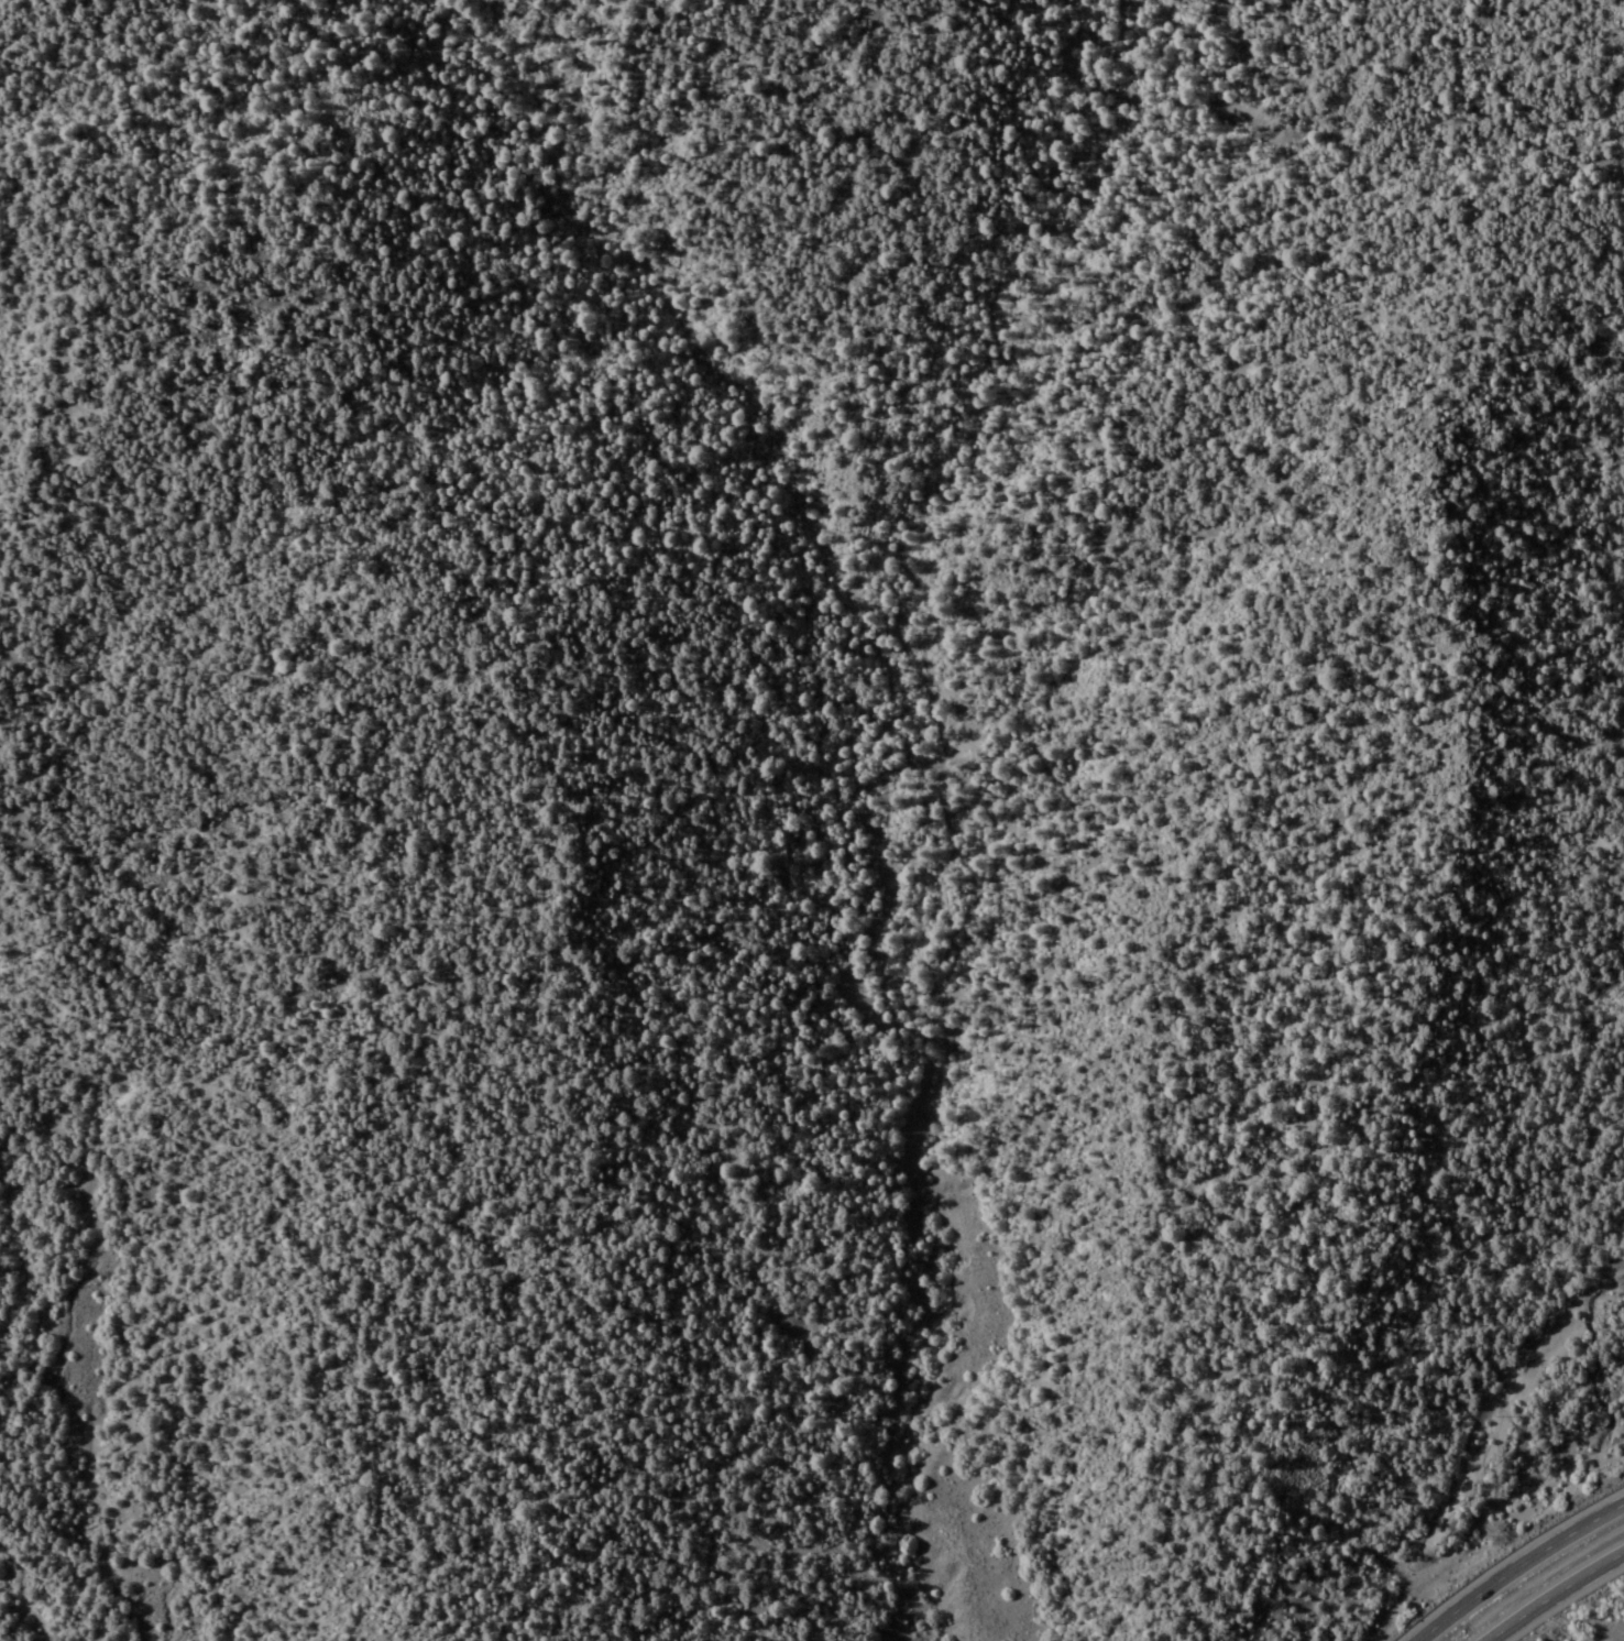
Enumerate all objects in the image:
road: (1504, 1408)
road: (1522, 1568)
road: (1554, 1593)

